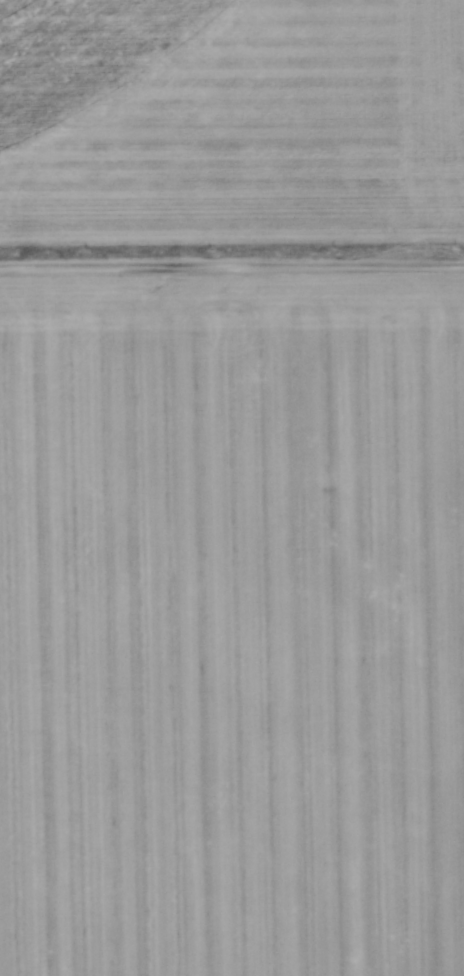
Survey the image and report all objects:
road: (232, 269)
crop: (232, 624)

